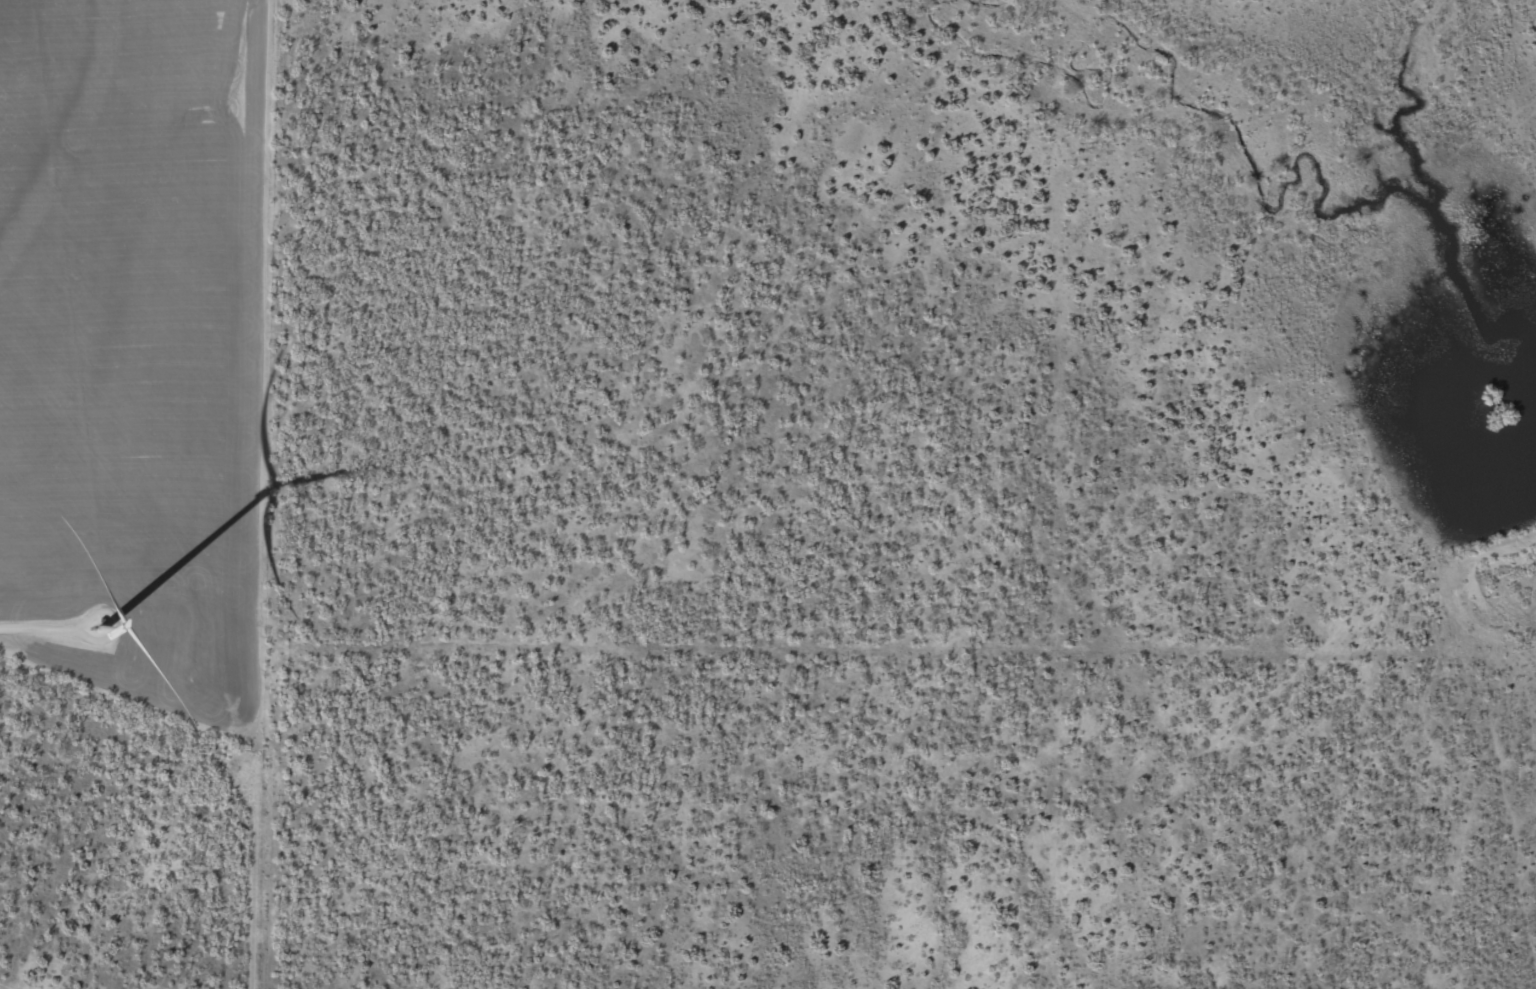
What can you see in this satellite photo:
wind turbine: (105, 626)

